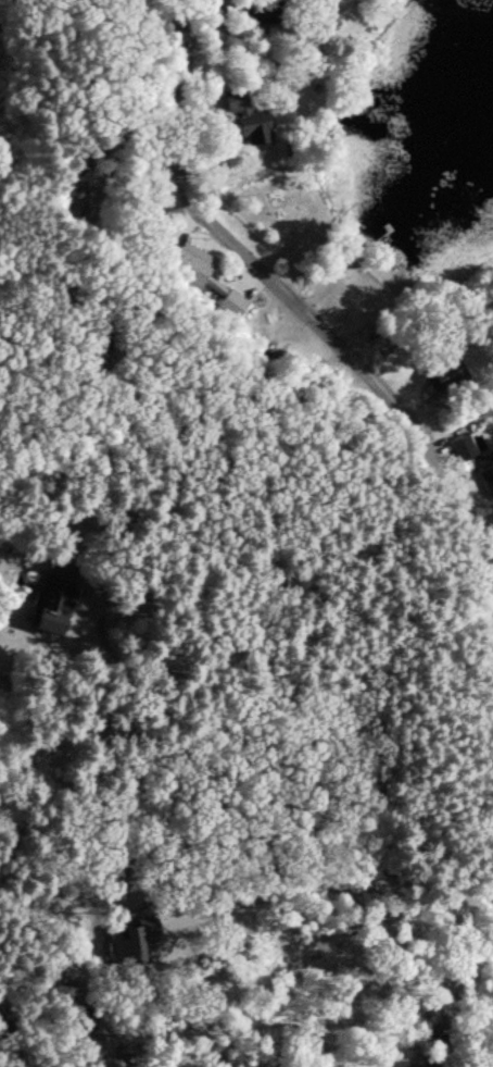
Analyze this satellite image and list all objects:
road: (129, 112)
building: (242, 123)
building: (188, 272)
building: (232, 300)
road: (320, 317)
building: (434, 375)
building: (457, 452)
building: (484, 480)
building: (48, 620)
road: (346, 895)
building: (136, 946)

